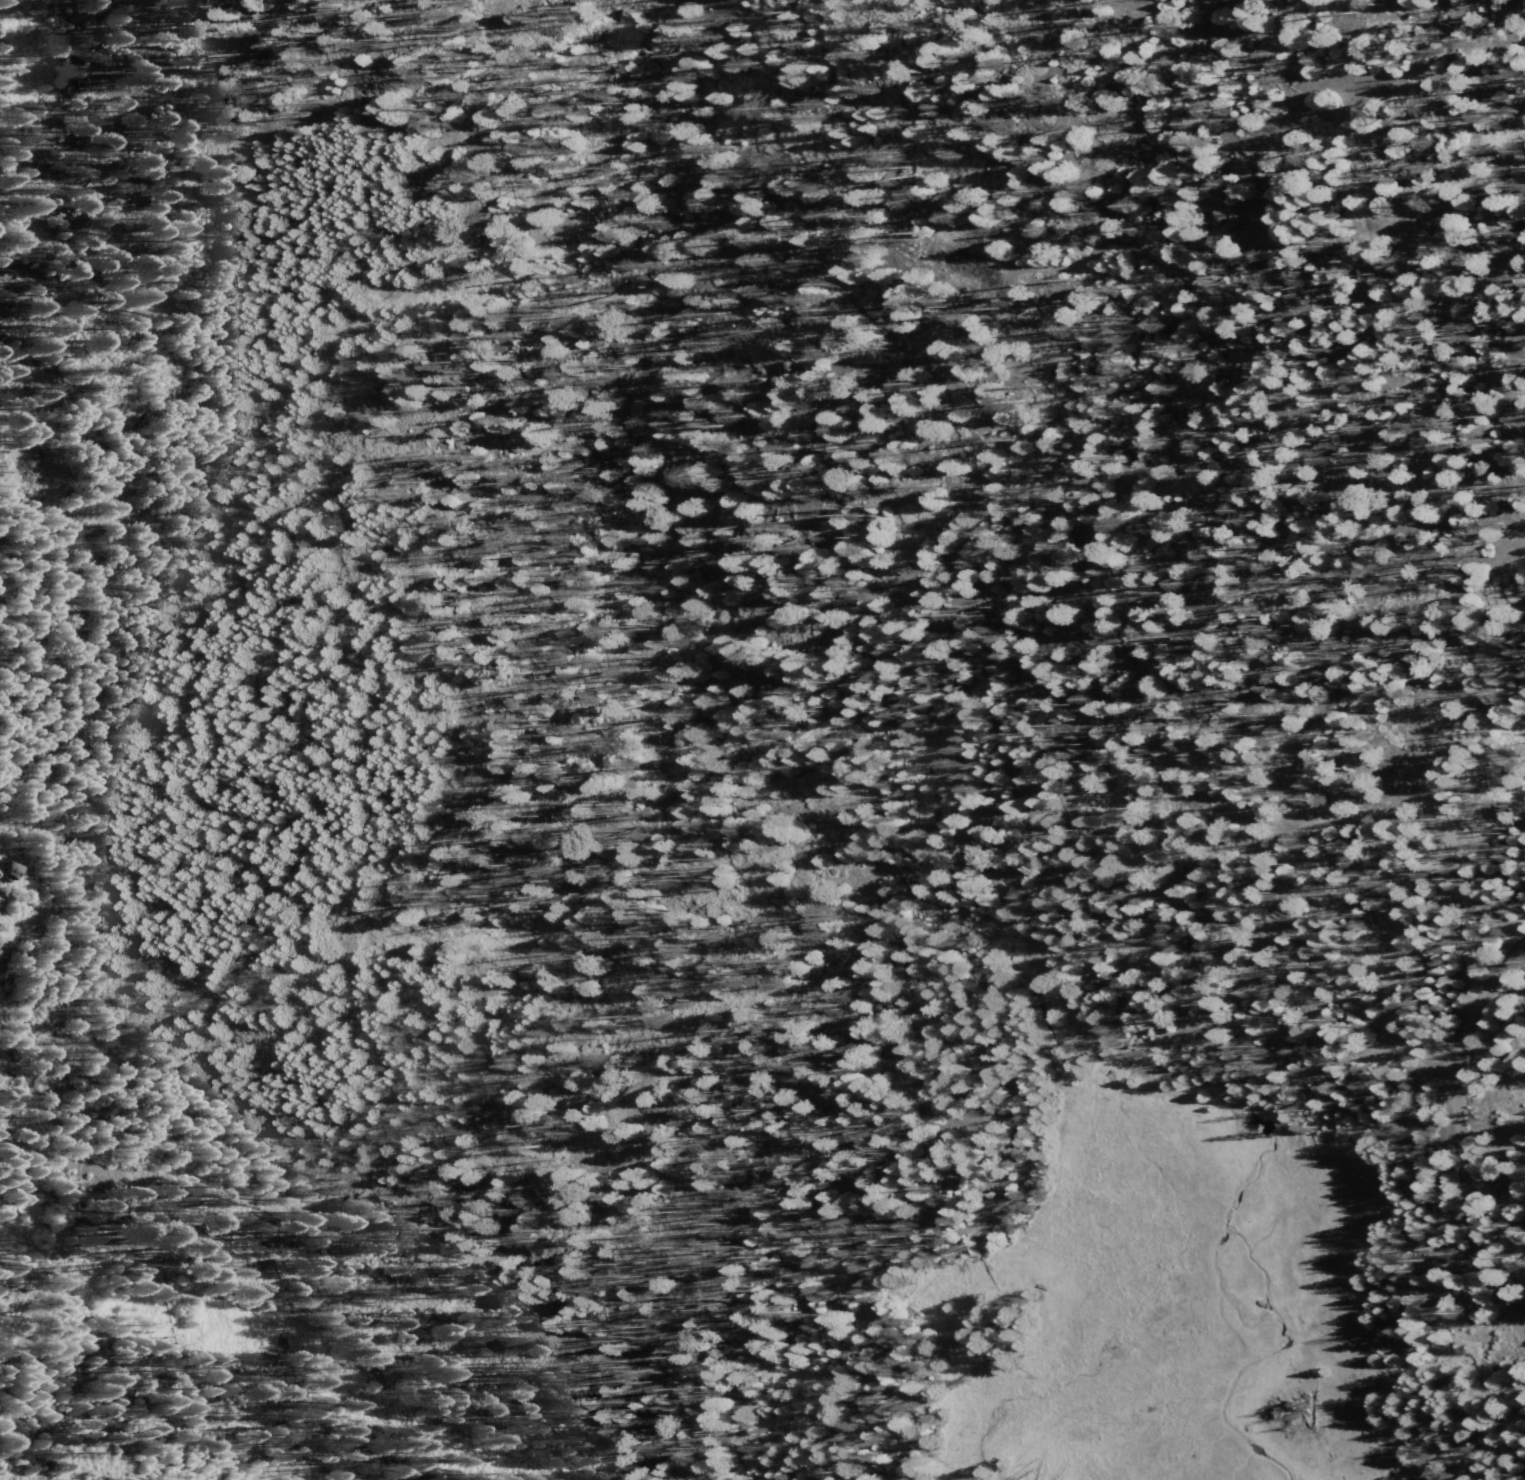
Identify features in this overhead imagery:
road: (1152, 518)
road: (1478, 1002)
road: (1469, 1203)

